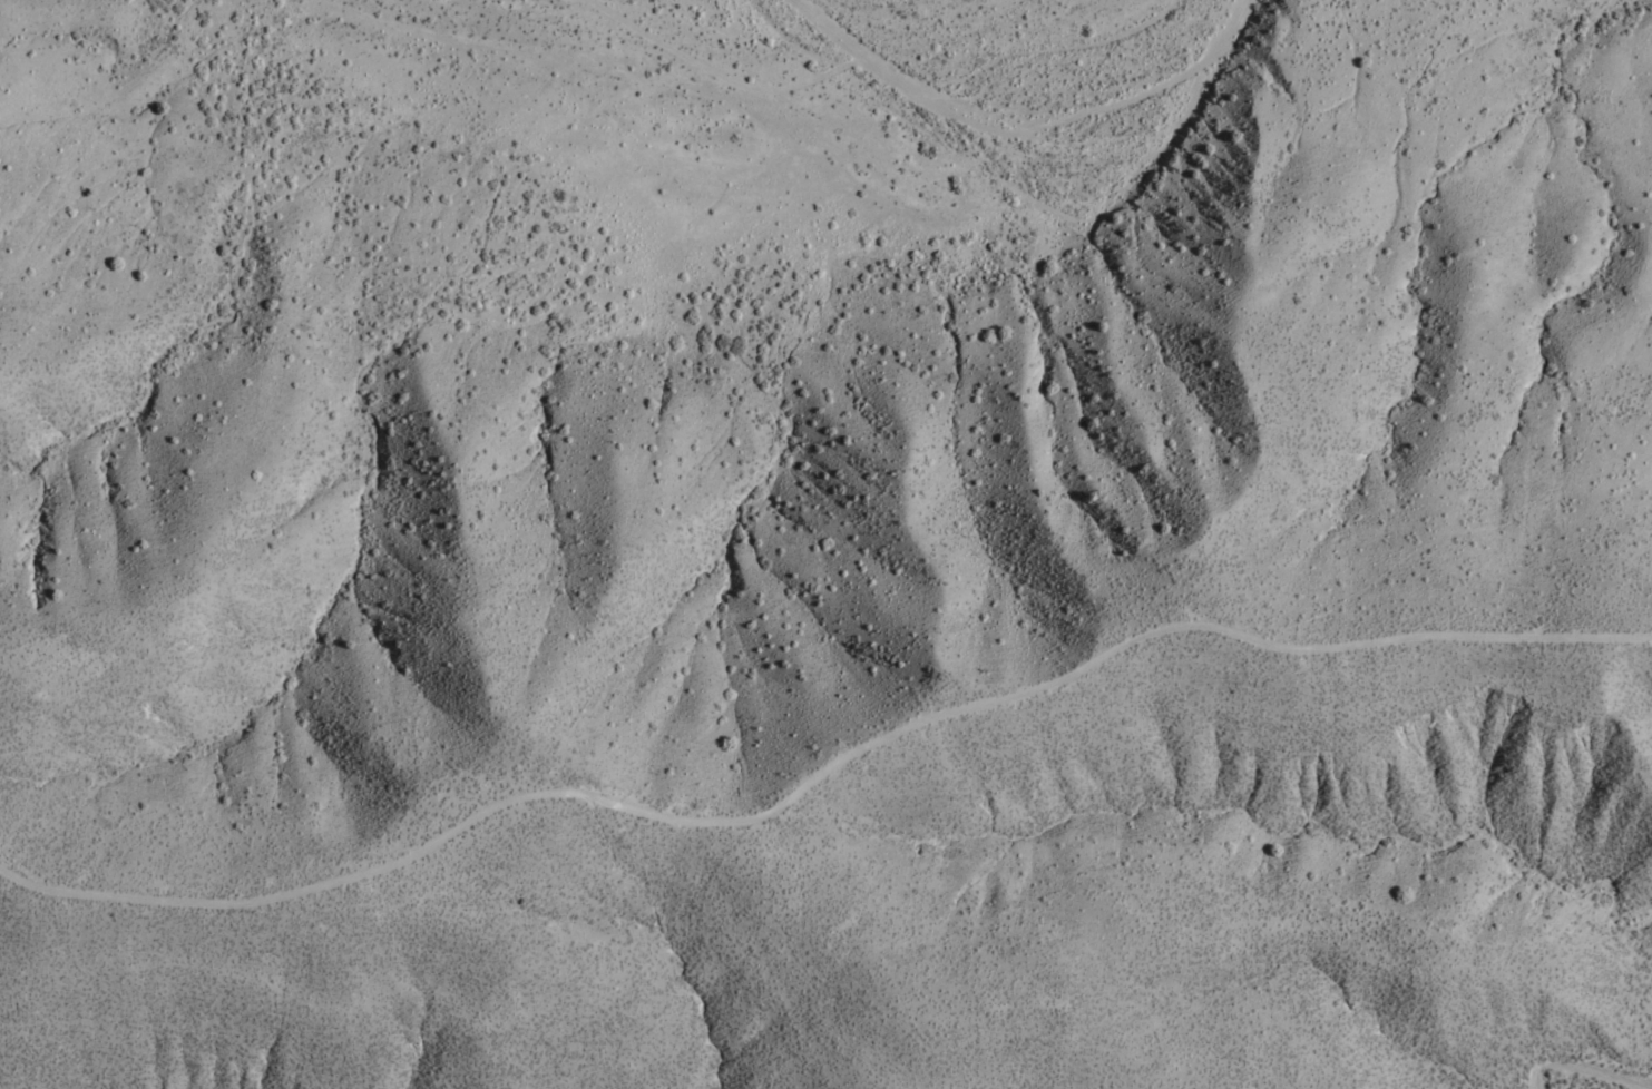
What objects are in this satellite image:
road: (823, 769)

